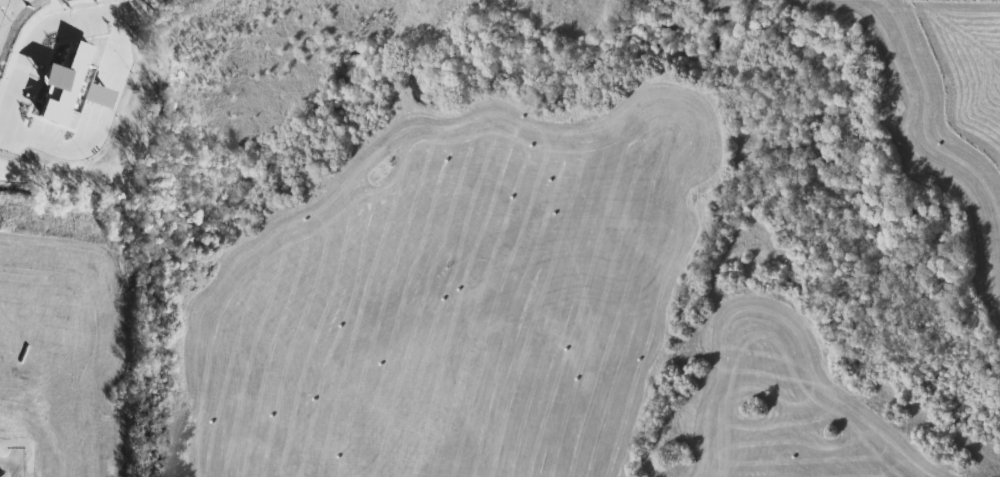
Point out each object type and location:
road: (56, 23)
building: (68, 79)
road: (11, 466)

